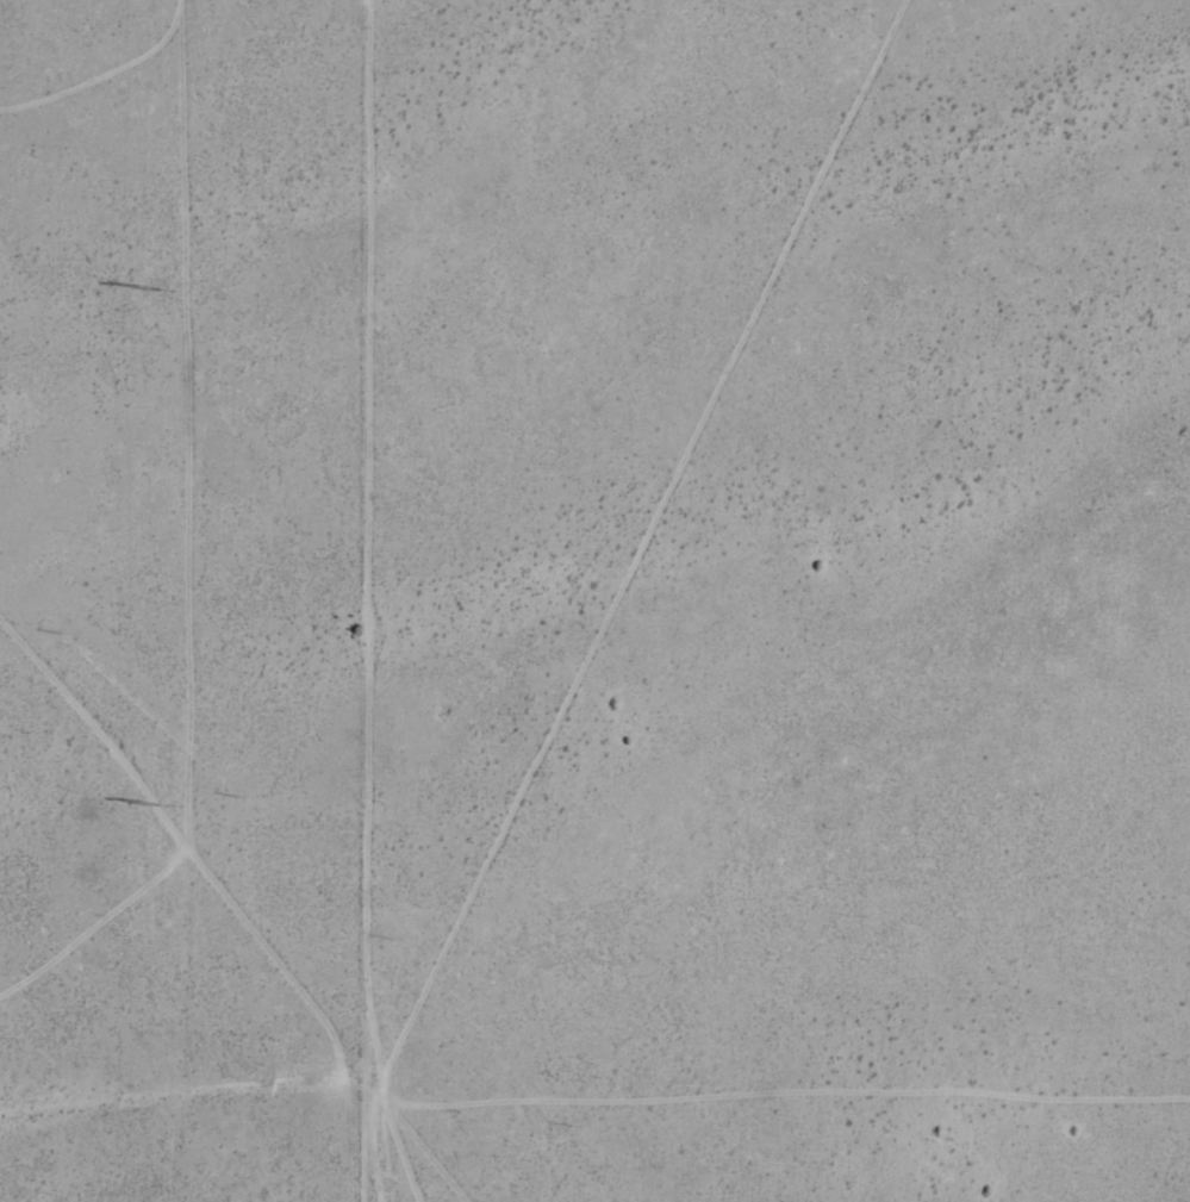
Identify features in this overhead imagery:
power tower: (157, 287)
power tower: (156, 804)
road: (208, 948)

